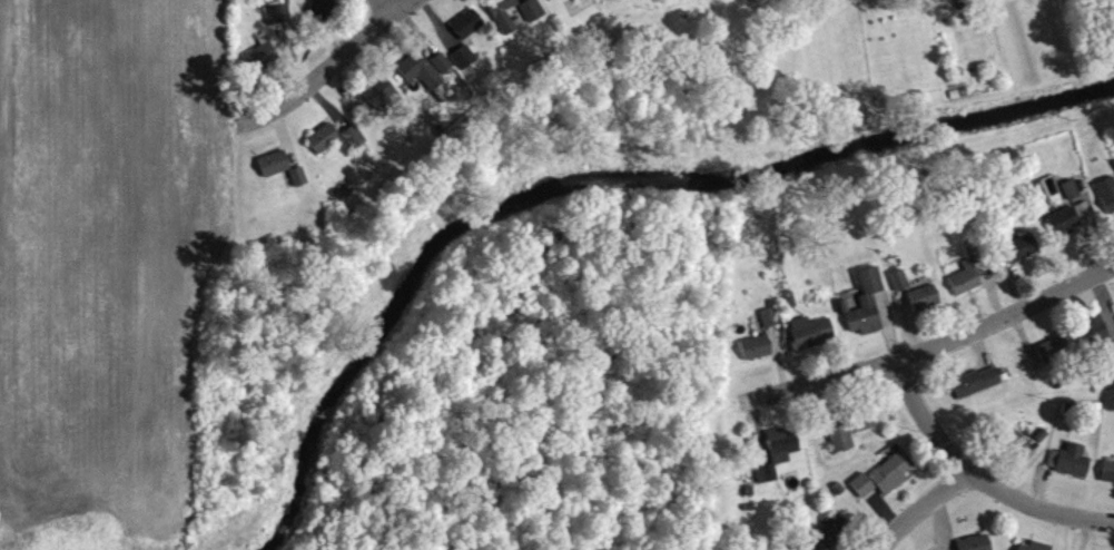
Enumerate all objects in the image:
building: (312, 0)
building: (601, 1)
building: (578, 2)
road: (392, 6)
building: (321, 17)
building: (503, 19)
building: (532, 19)
building: (276, 23)
building: (467, 33)
road: (341, 56)
building: (260, 66)
building: (464, 67)
building: (442, 72)
building: (420, 80)
building: (379, 101)
building: (353, 147)
building: (324, 148)
building: (275, 173)
building: (298, 186)
building: (1071, 198)
building: (1107, 203)
building: (1083, 220)
building: (1064, 230)
building: (1022, 257)
building: (973, 261)
building: (966, 288)
building: (900, 289)
building: (925, 307)
building: (865, 314)
building: (769, 327)
building: (1093, 338)
building: (811, 342)
road: (938, 347)
building: (757, 356)
building: (1053, 360)
building: (977, 391)
building: (849, 438)
building: (778, 462)
building: (1071, 470)
road: (979, 479)
building: (894, 482)
building: (1108, 482)
building: (864, 494)
road: (923, 509)
building: (836, 536)
building: (819, 547)
building: (979, 547)
building: (1031, 549)

